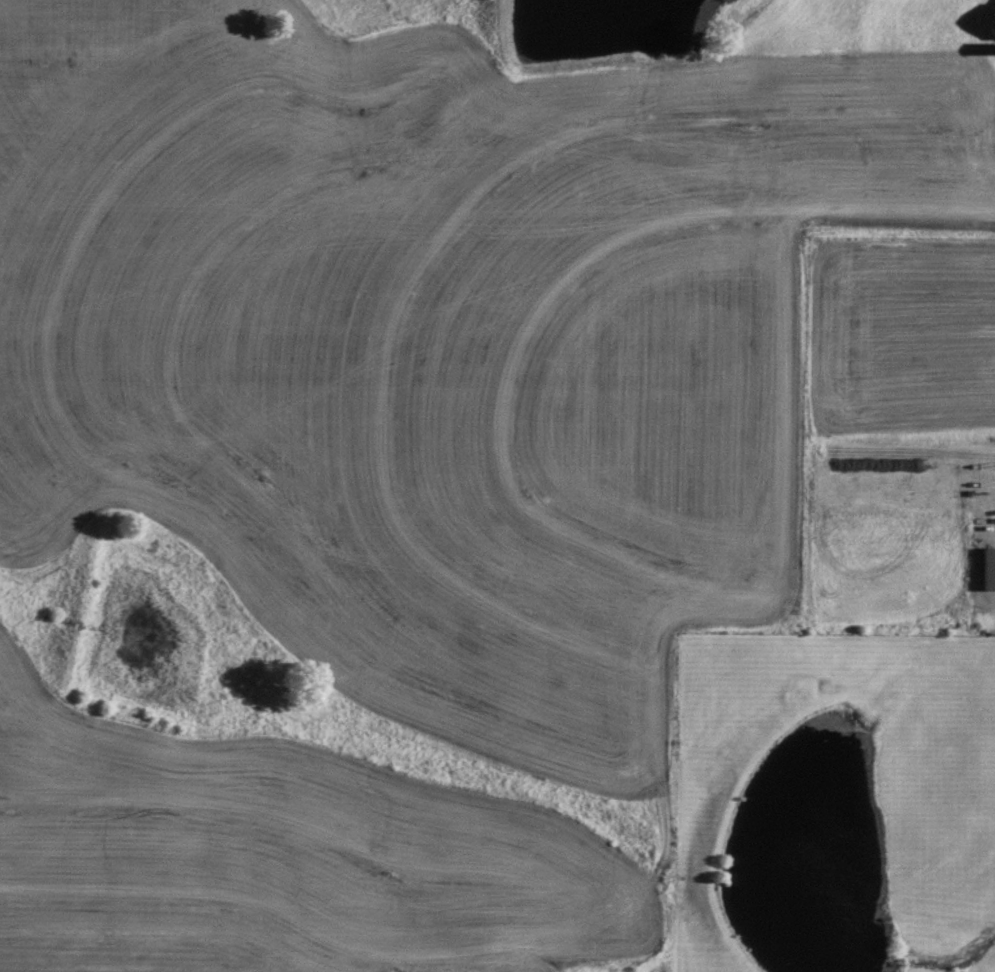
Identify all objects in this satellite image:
building: (989, 567)

